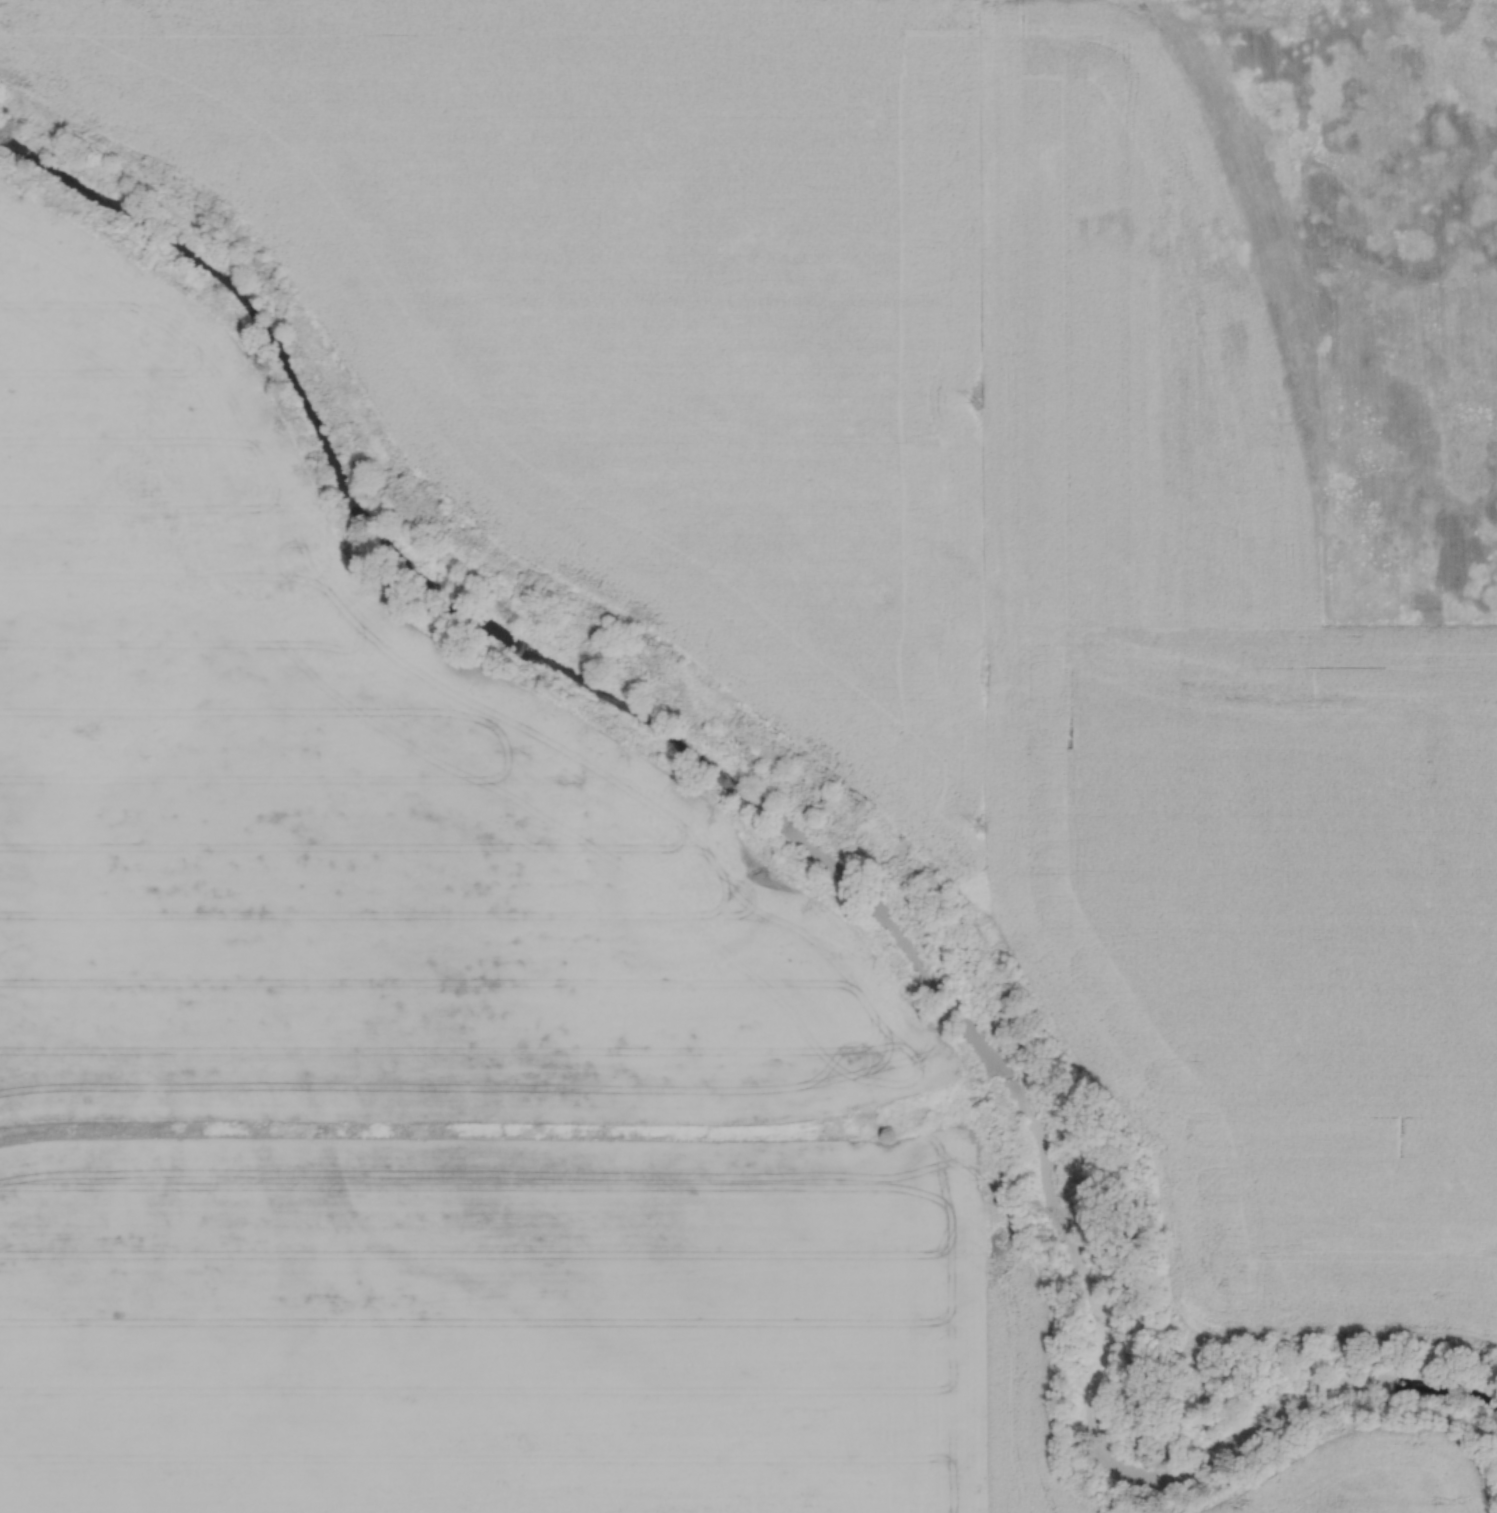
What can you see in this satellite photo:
power tower: (976, 399)
power tower: (977, 828)
river: (825, 866)
power tower: (981, 1184)

